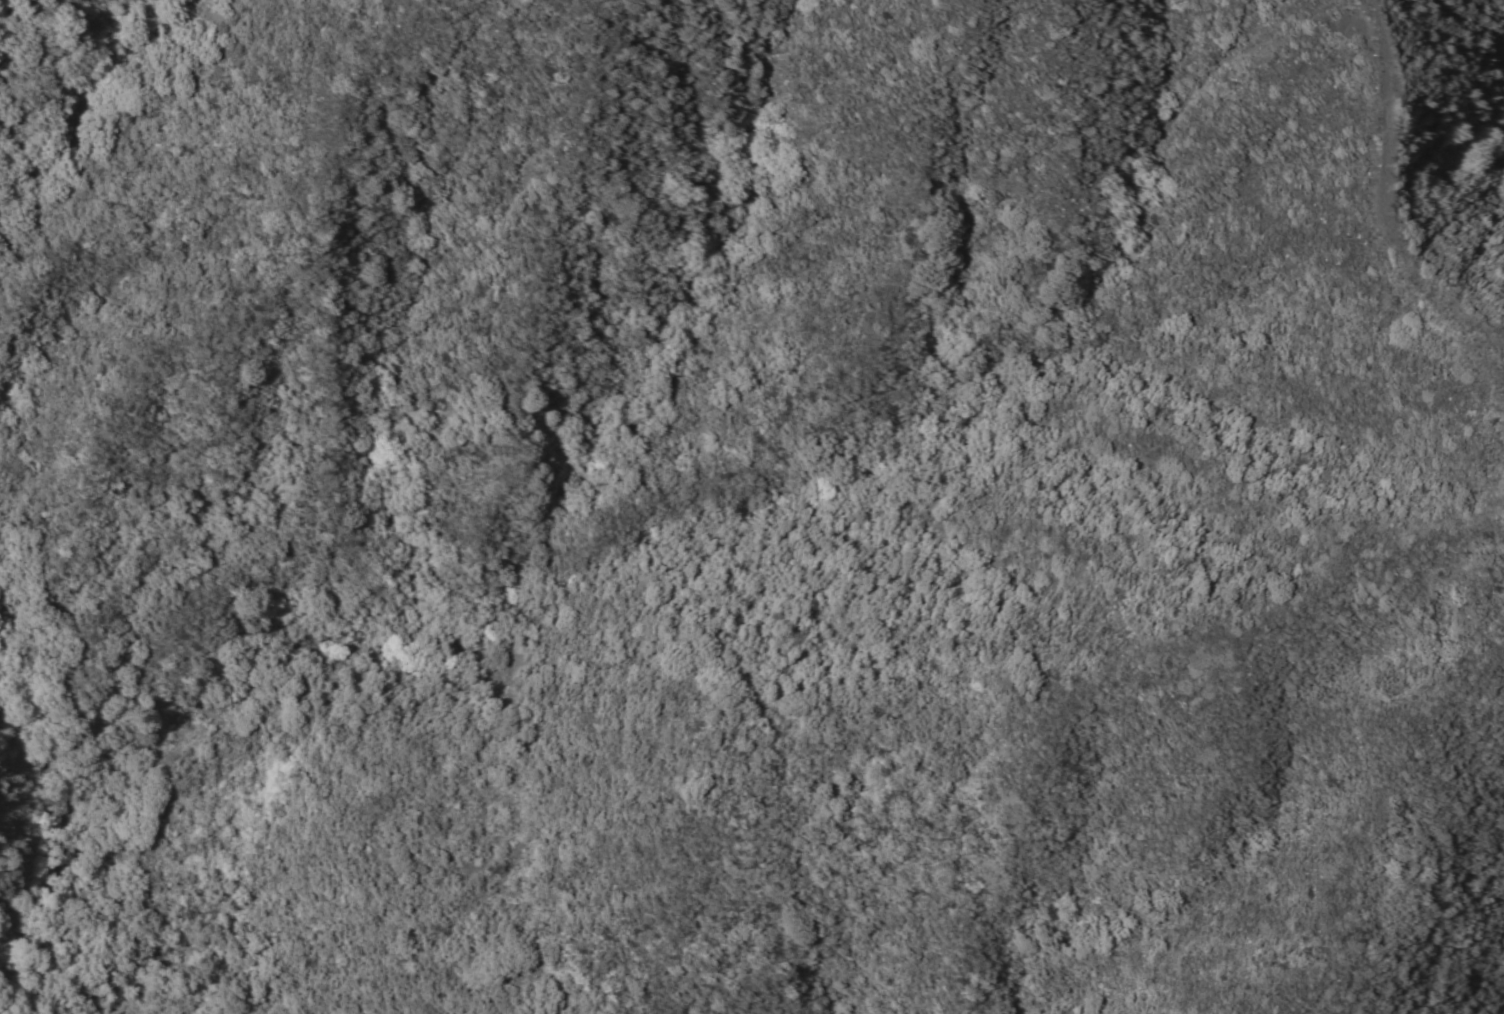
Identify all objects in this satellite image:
road: (1384, 241)

